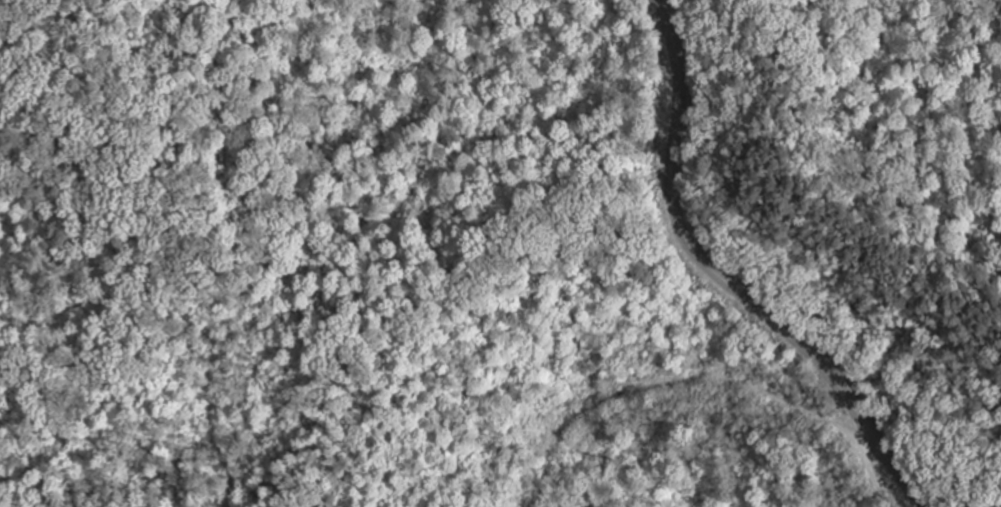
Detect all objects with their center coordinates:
road: (724, 280)

